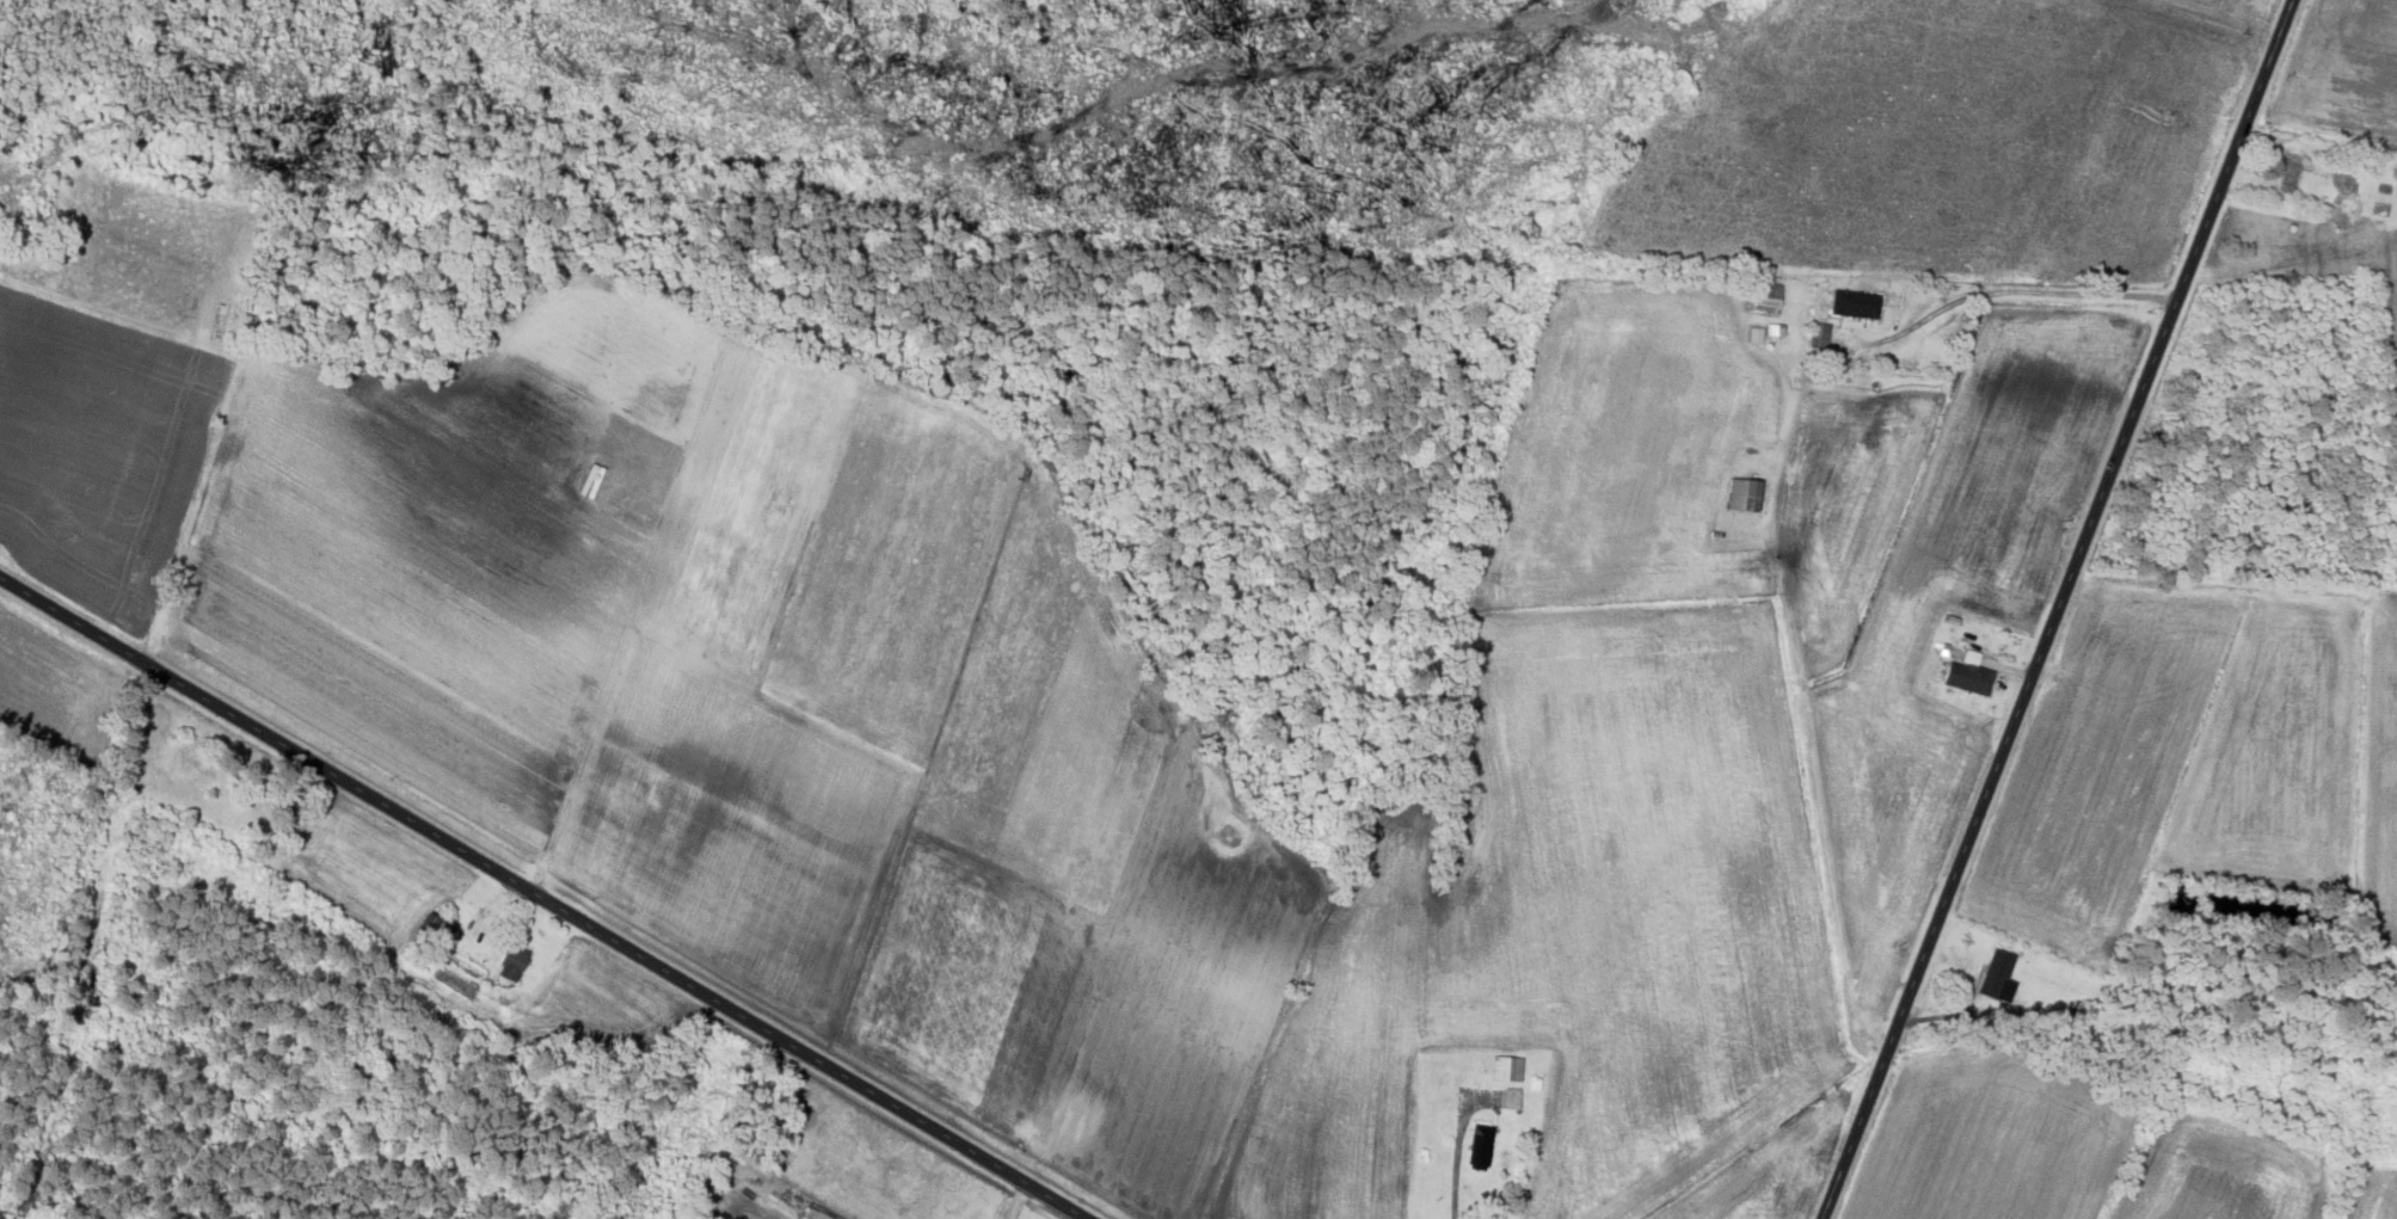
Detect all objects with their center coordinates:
building: (2294, 168)
road: (2011, 293)
building: (1766, 298)
building: (1858, 304)
building: (1821, 335)
building: (1753, 497)
road: (2057, 609)
building: (1969, 676)
road: (542, 898)
building: (514, 963)
building: (1999, 977)
building: (1507, 1070)
building: (1513, 1101)
building: (1482, 1146)

